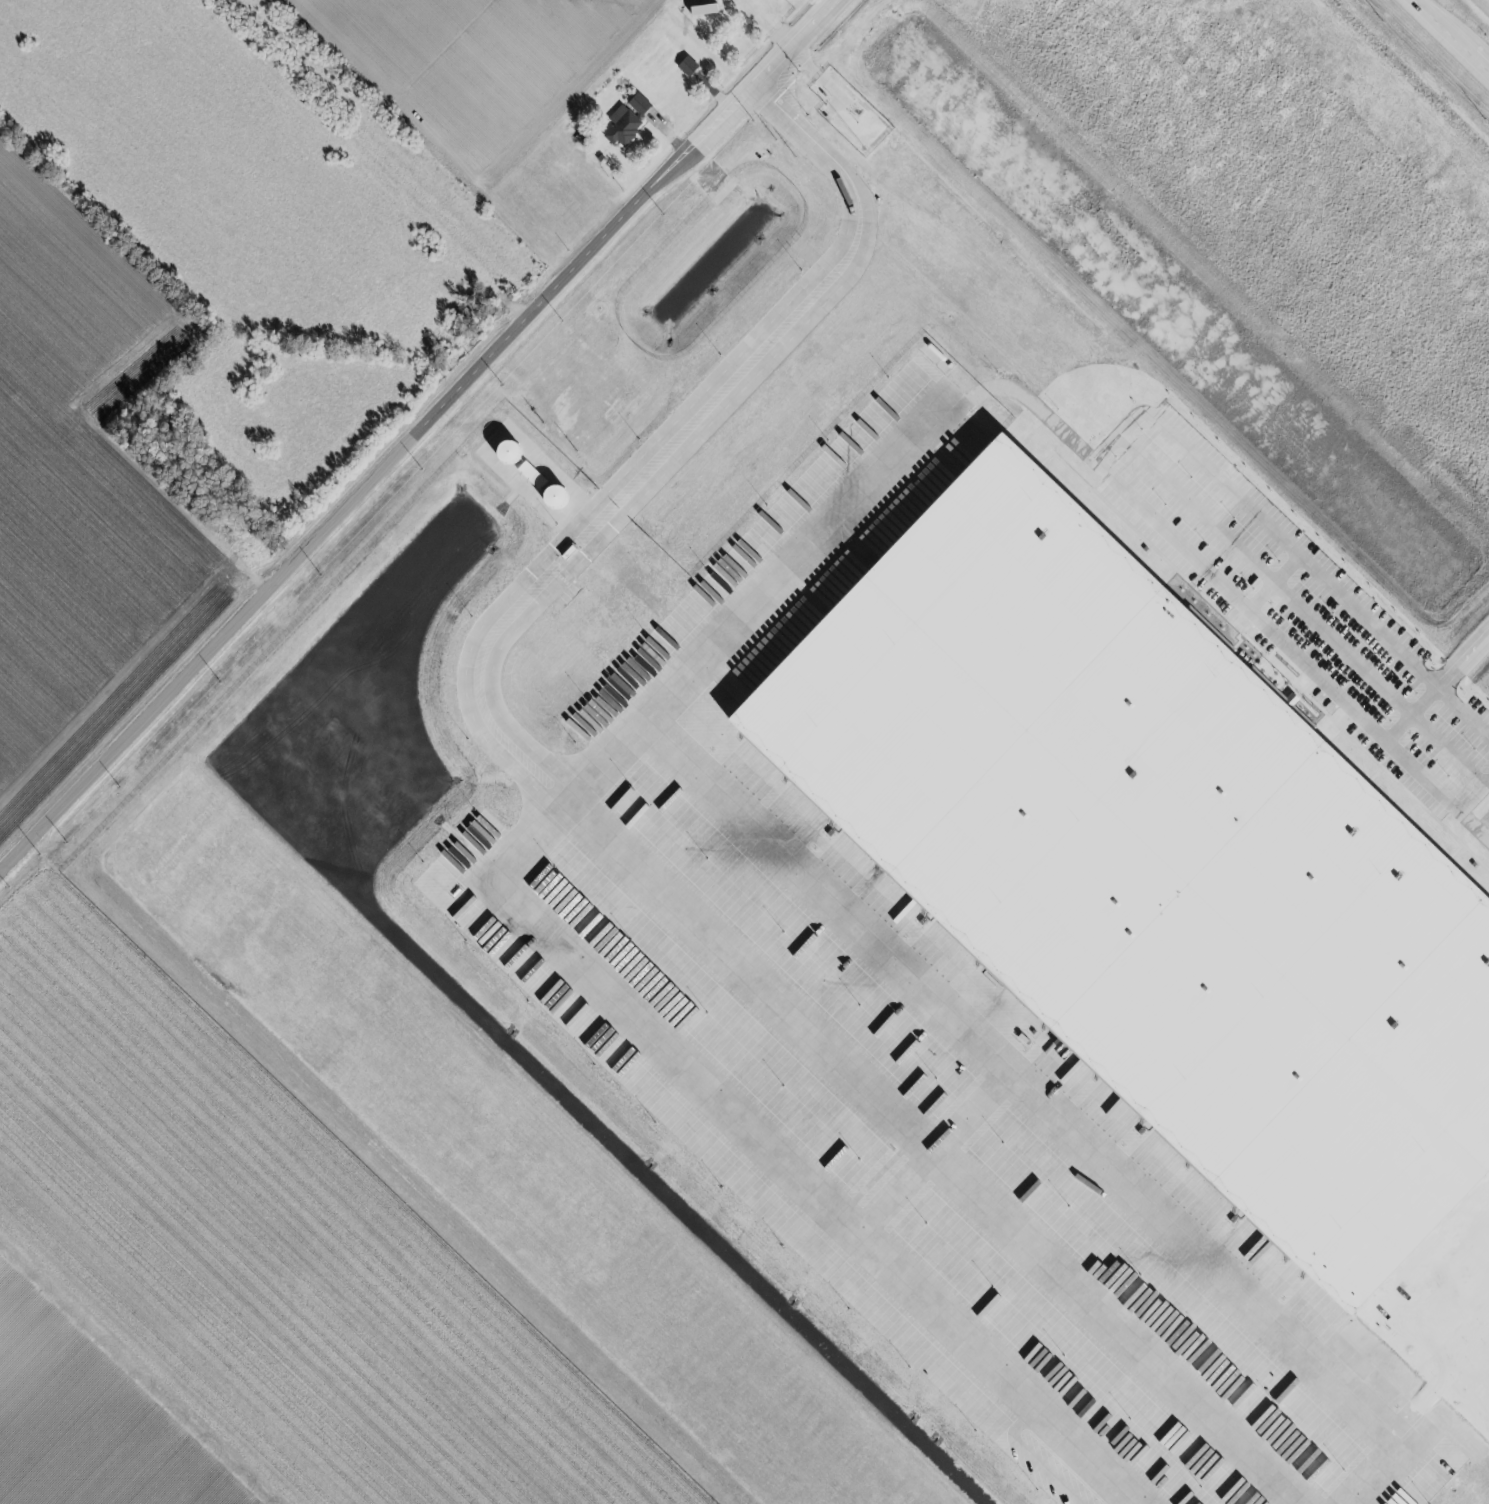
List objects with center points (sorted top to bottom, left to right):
building: (718, 0)
road: (1439, 46)
building: (689, 65)
building: (625, 125)
building: (569, 410)
road: (414, 435)
road: (678, 438)
road: (1135, 451)
road: (1101, 463)
road: (792, 560)
road: (1274, 585)
road: (1301, 610)
road: (1462, 661)
road: (1462, 716)
road: (1434, 792)
building: (1170, 889)
road: (1003, 1071)
road: (931, 1151)
road: (765, 1152)

